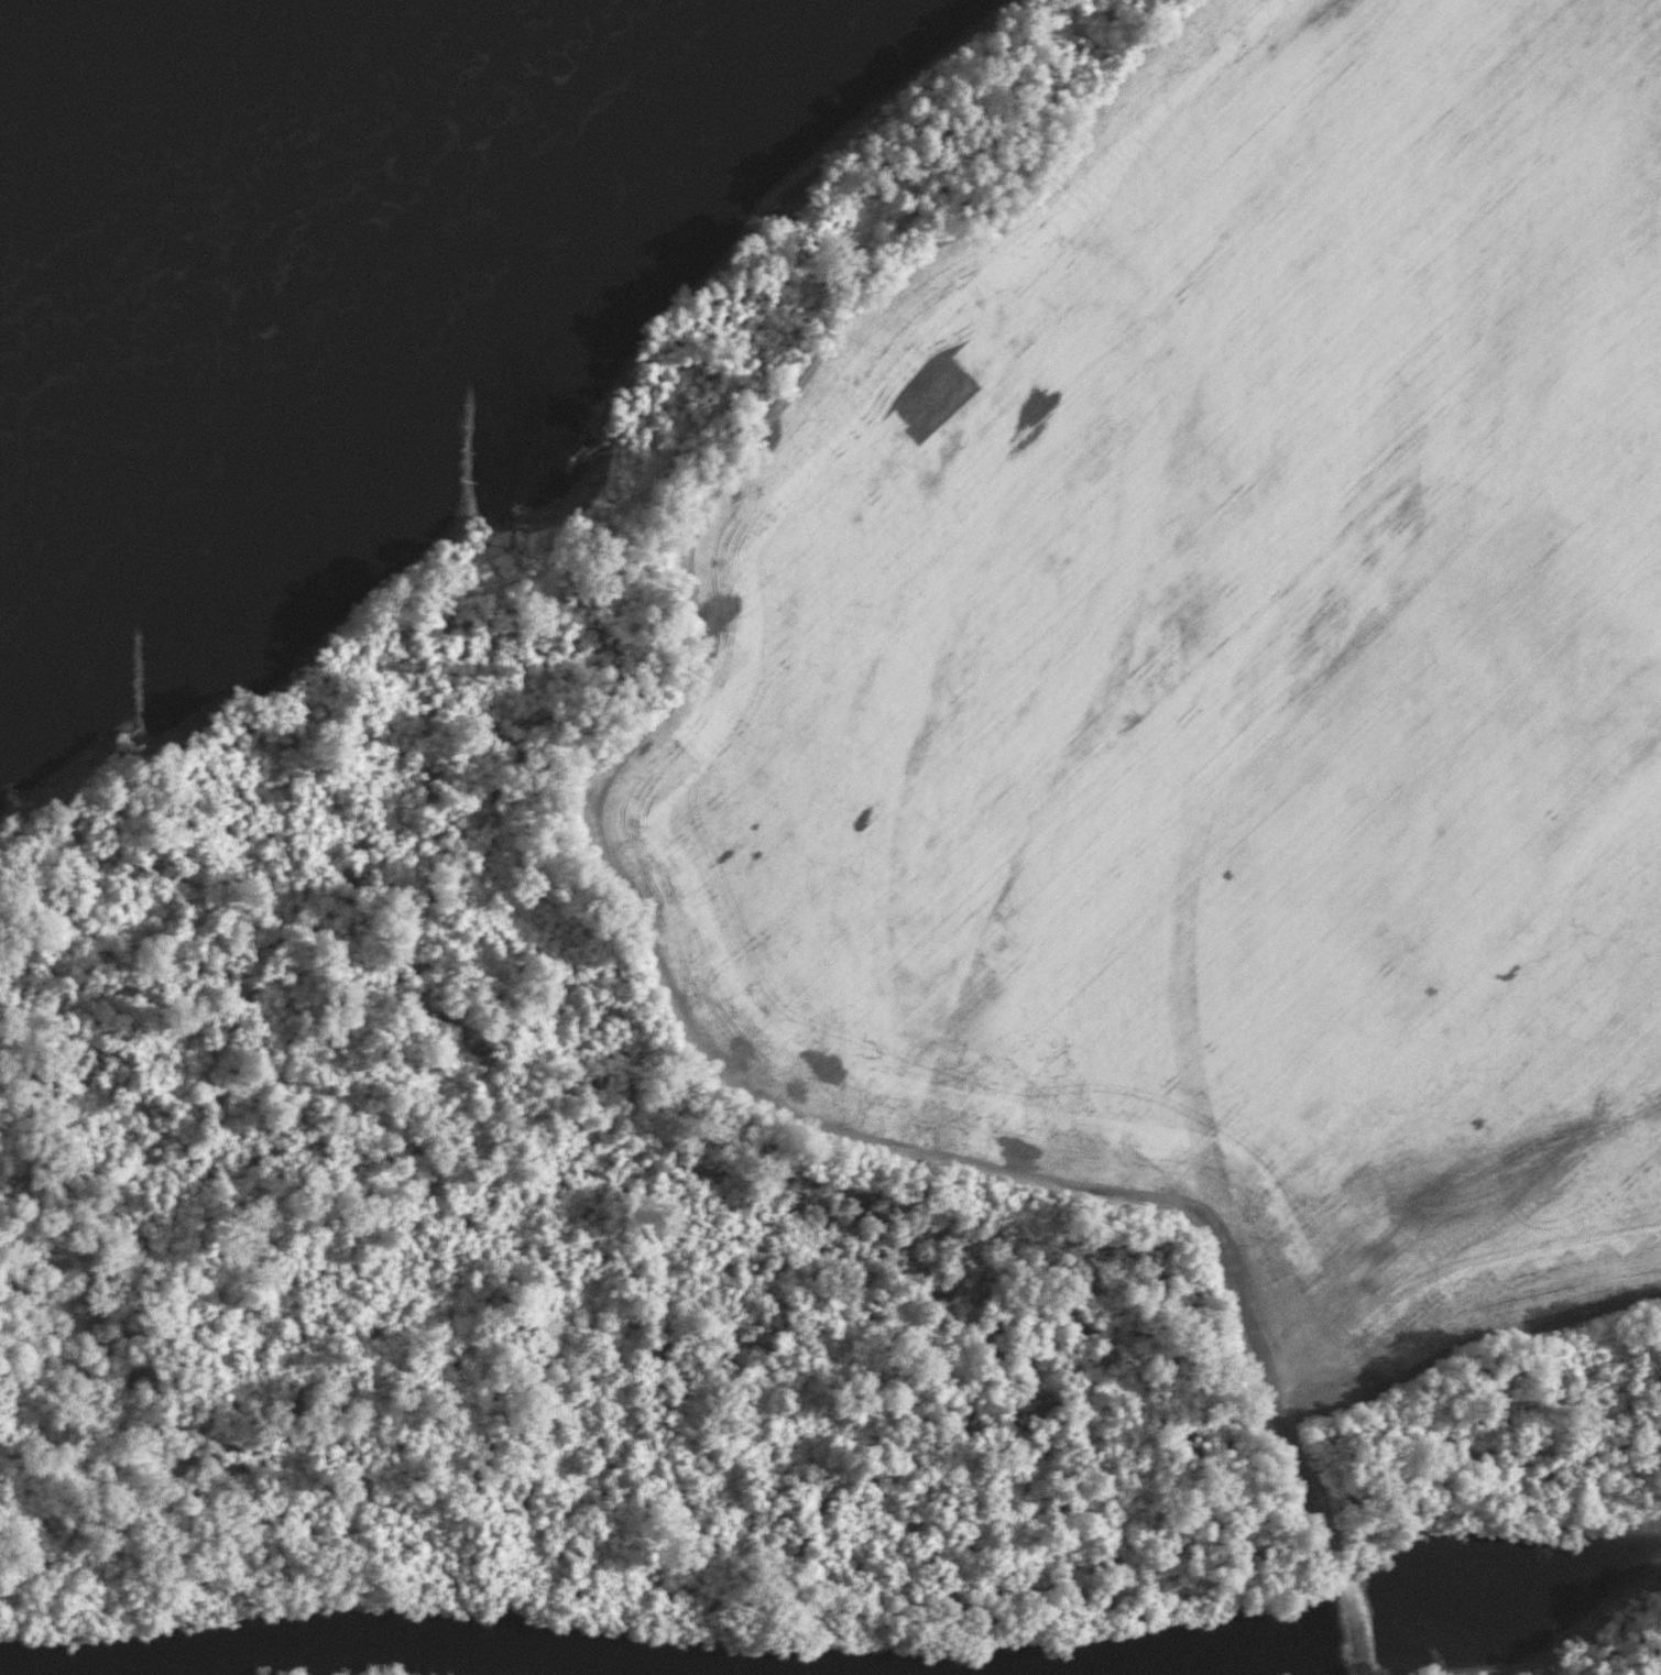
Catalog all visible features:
river: (123, 73)
crop: (1212, 681)

